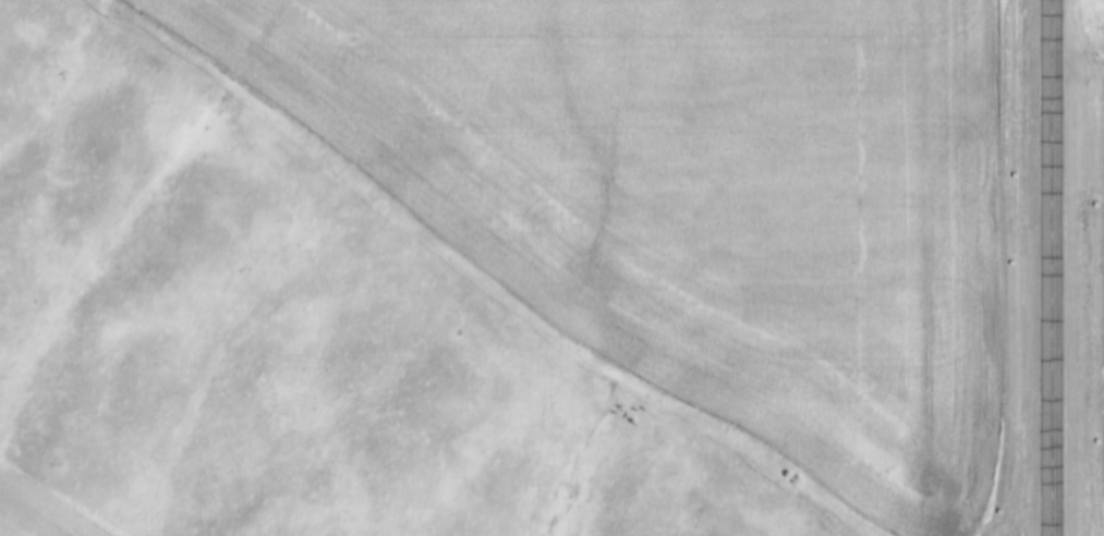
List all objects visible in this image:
road: (1056, 268)

